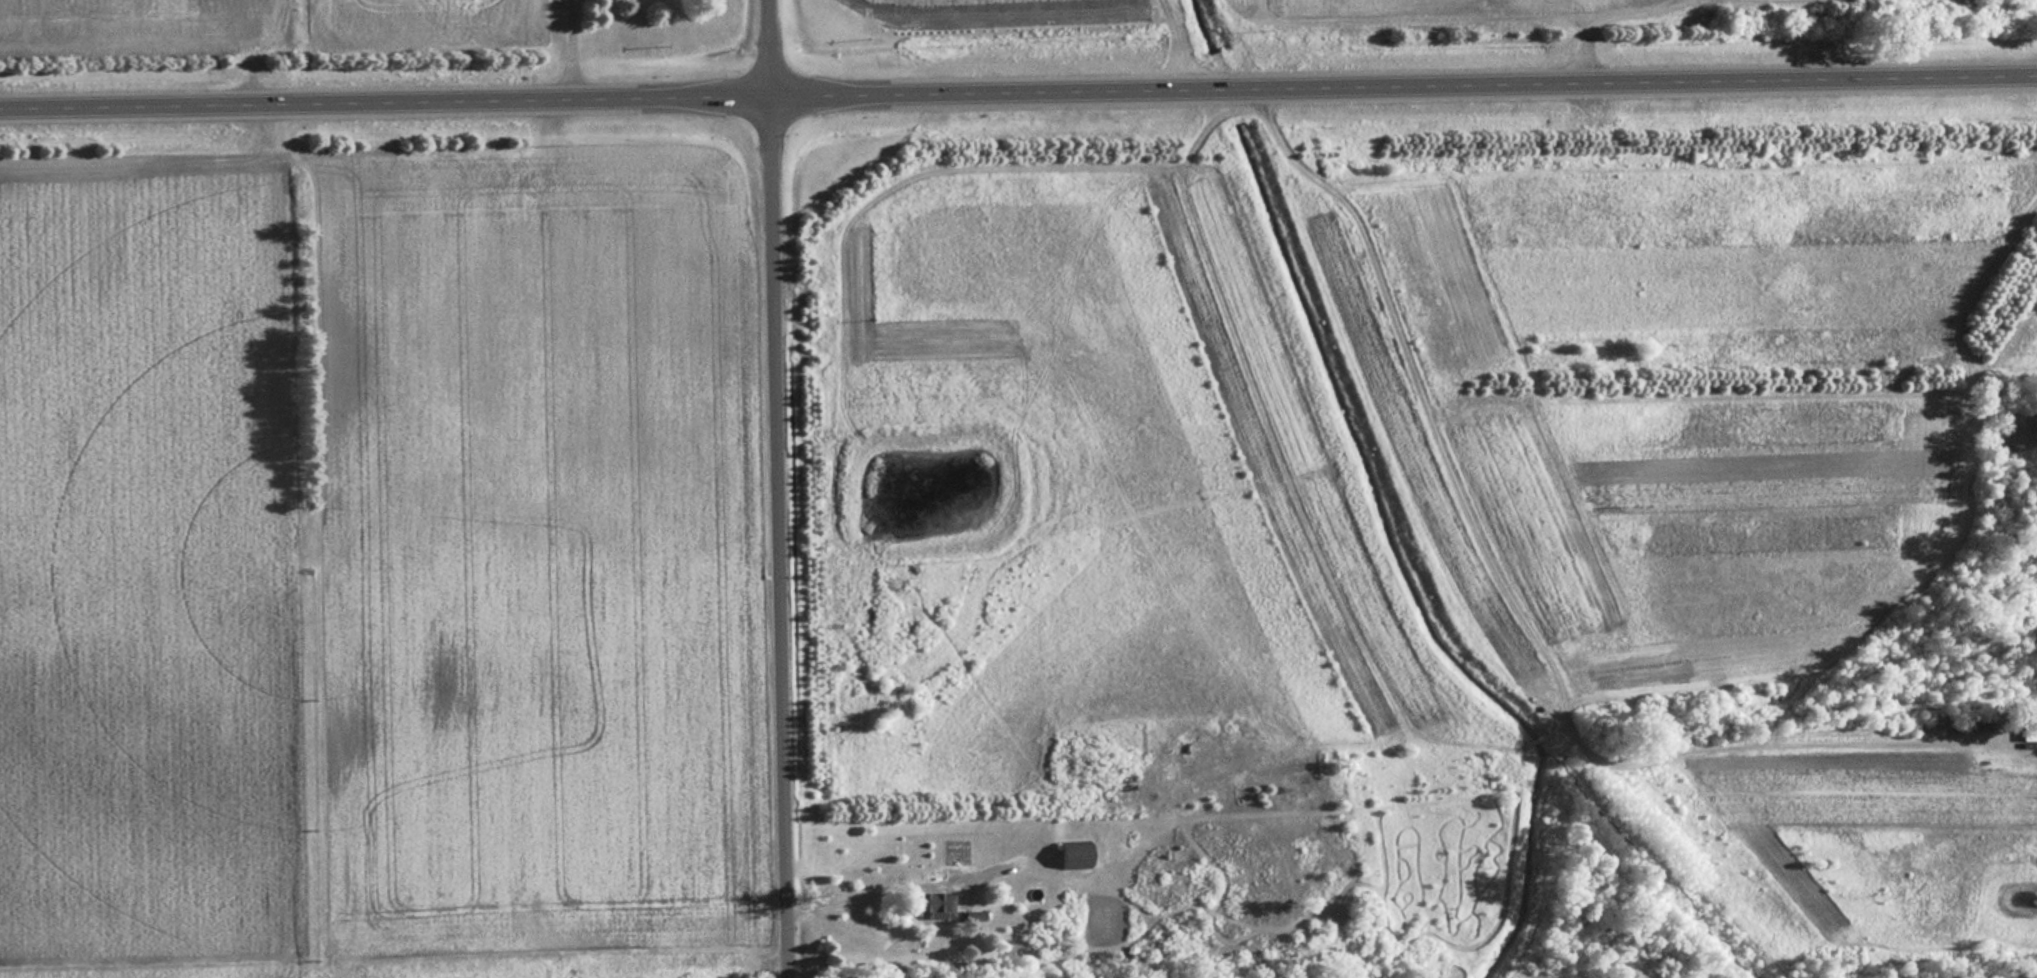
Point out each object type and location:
road: (1018, 97)
road: (775, 489)
building: (2027, 737)
building: (1070, 855)
road: (866, 891)
building: (928, 903)

